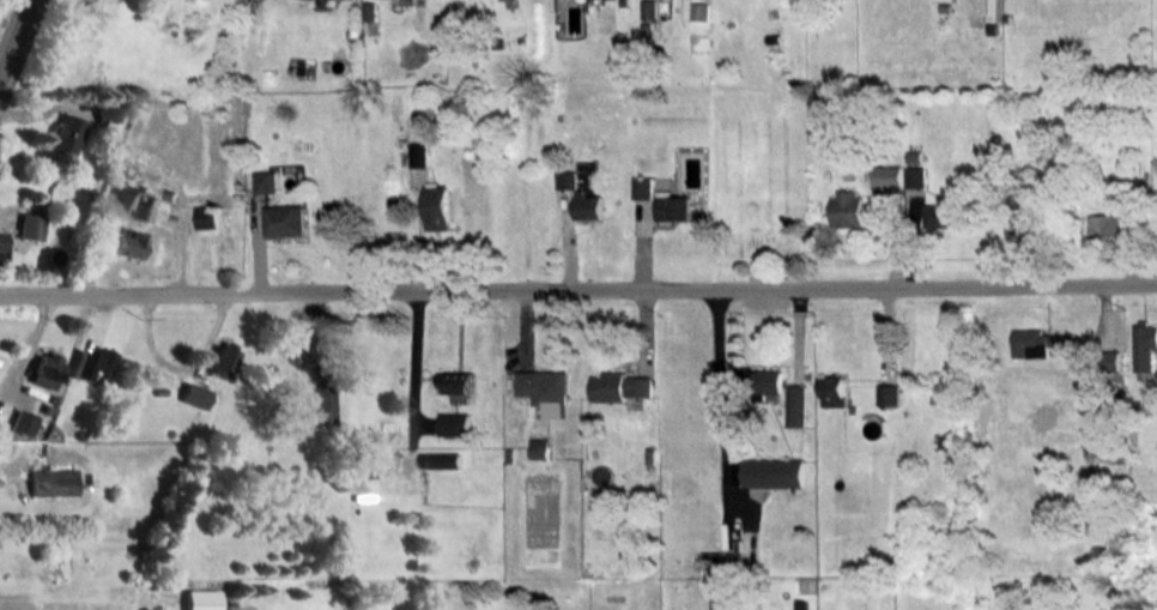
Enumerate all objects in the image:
building: (941, 0)
building: (230, 2)
building: (991, 10)
building: (699, 11)
road: (16, 38)
building: (107, 113)
building: (66, 134)
building: (418, 153)
building: (889, 176)
building: (916, 176)
building: (565, 179)
building: (265, 181)
building: (641, 187)
building: (587, 205)
building: (672, 206)
building: (848, 207)
building: (943, 215)
building: (206, 216)
building: (284, 219)
building: (1113, 225)
building: (30, 227)
building: (0, 232)
building: (128, 244)
road: (578, 288)
building: (299, 340)
building: (1030, 343)
building: (1145, 345)
building: (223, 358)
building: (91, 362)
road: (414, 366)
building: (46, 369)
building: (768, 381)
building: (458, 383)
building: (619, 386)
building: (545, 389)
building: (831, 391)
building: (193, 394)
building: (888, 394)
building: (321, 401)
building: (795, 405)
road: (722, 407)
building: (22, 422)
building: (455, 423)
building: (539, 447)
building: (441, 459)
building: (768, 472)
building: (52, 482)
building: (200, 599)
building: (723, 599)

